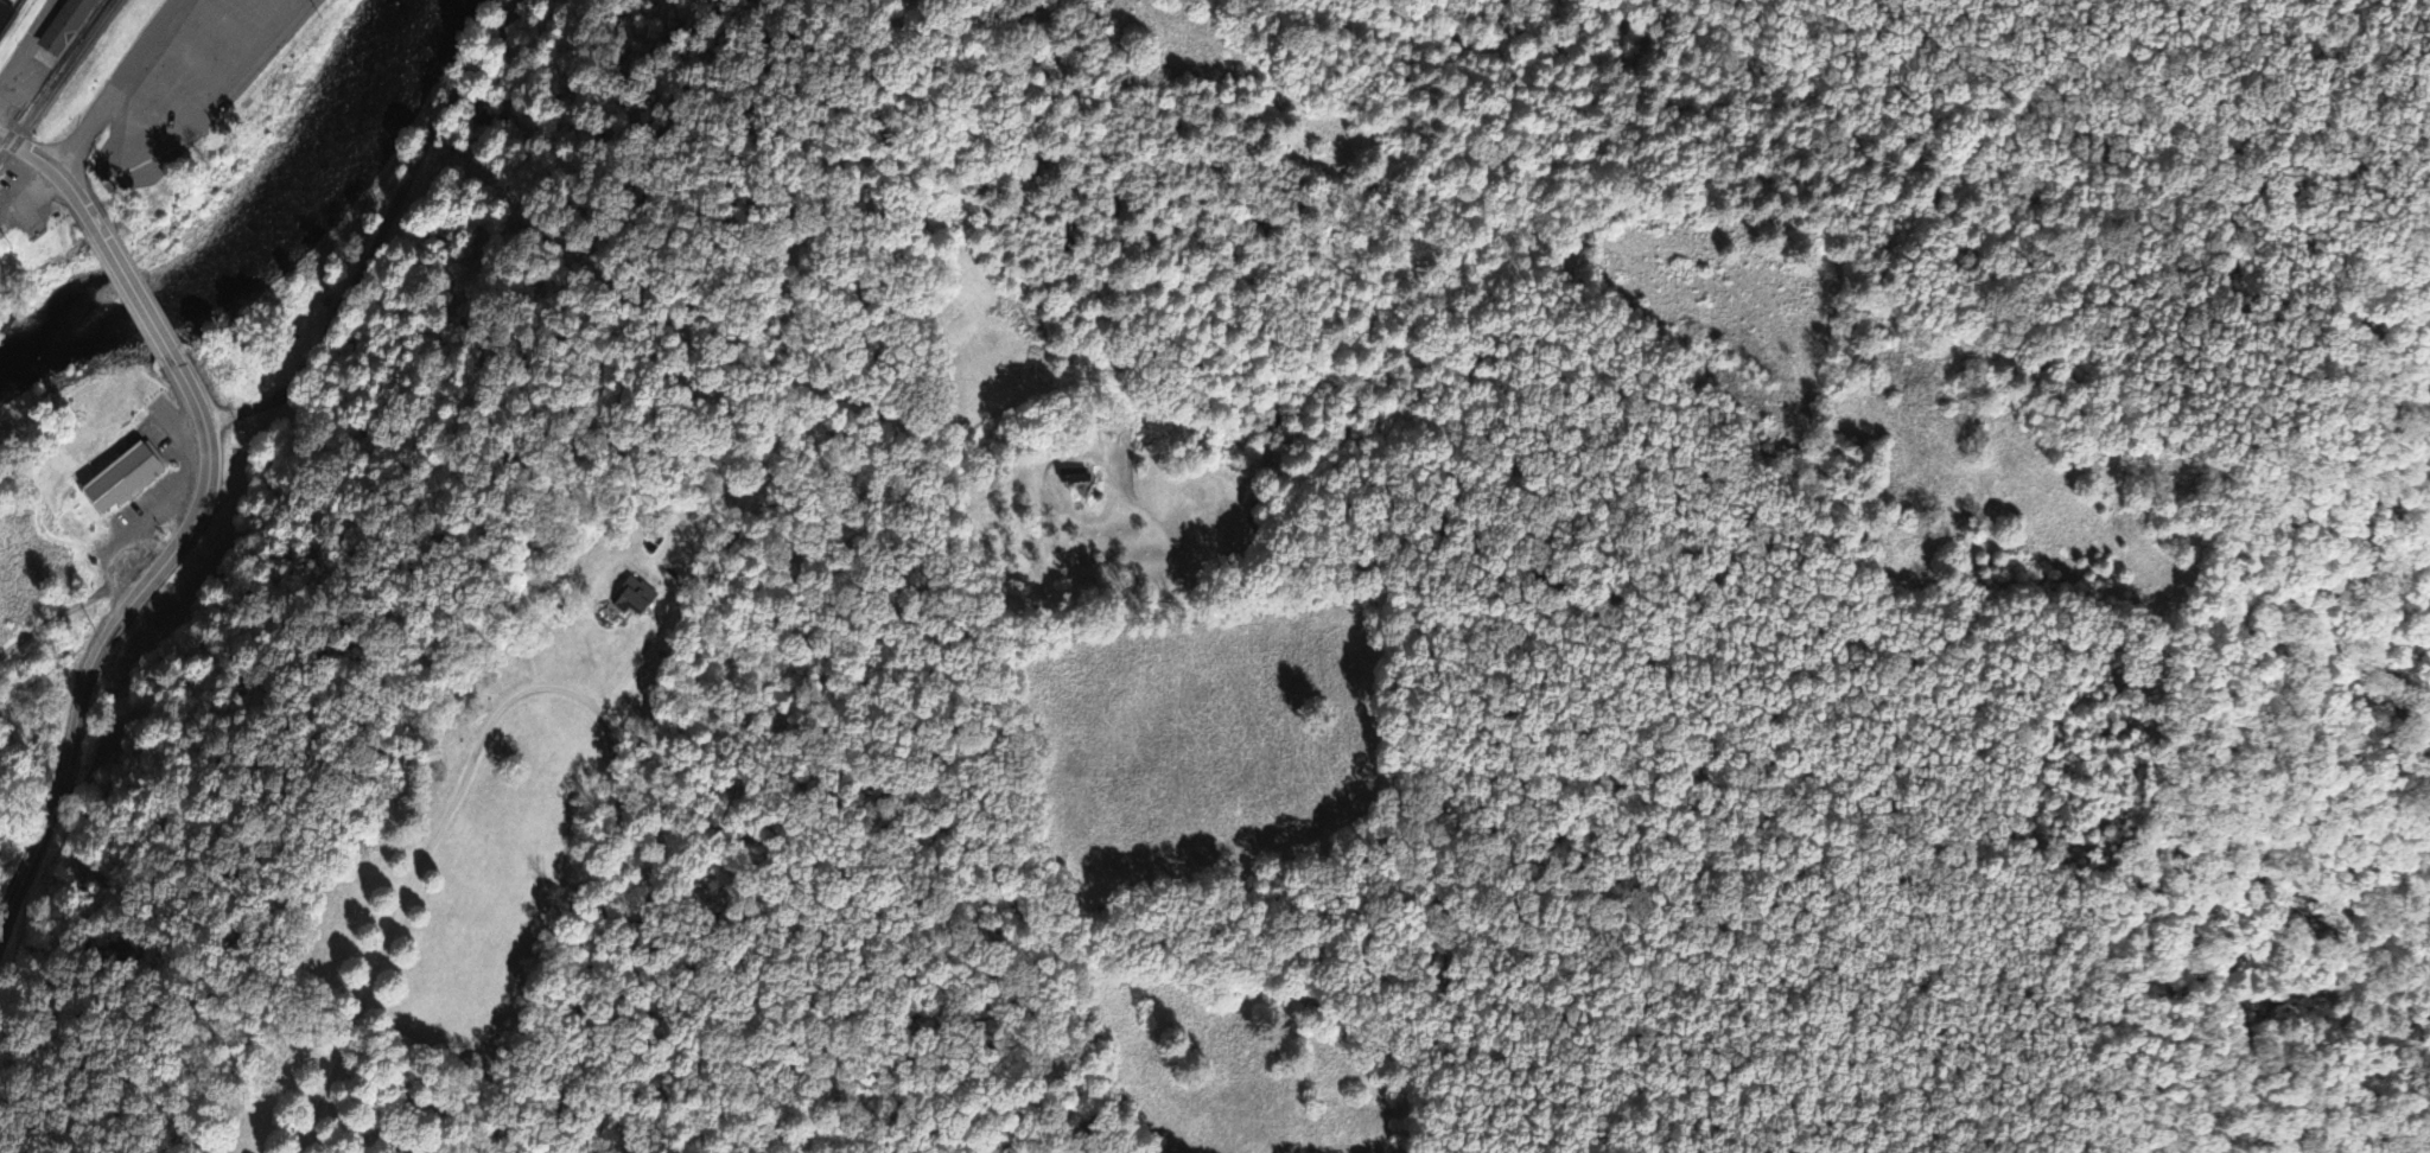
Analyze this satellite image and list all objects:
road: (279, 9)
building: (7, 18)
building: (69, 25)
road: (225, 27)
railway: (18, 30)
road: (33, 45)
road: (195, 60)
railway: (51, 62)
railway: (55, 75)
railway: (59, 84)
parking lot: (196, 84)
road: (117, 87)
road: (165, 96)
road: (218, 106)
road: (57, 173)
road: (384, 232)
river: (261, 235)
road: (134, 294)
building: (1074, 474)
building: (127, 478)
park: (360, 511)
road: (62, 614)
road: (107, 632)
road: (577, 938)

